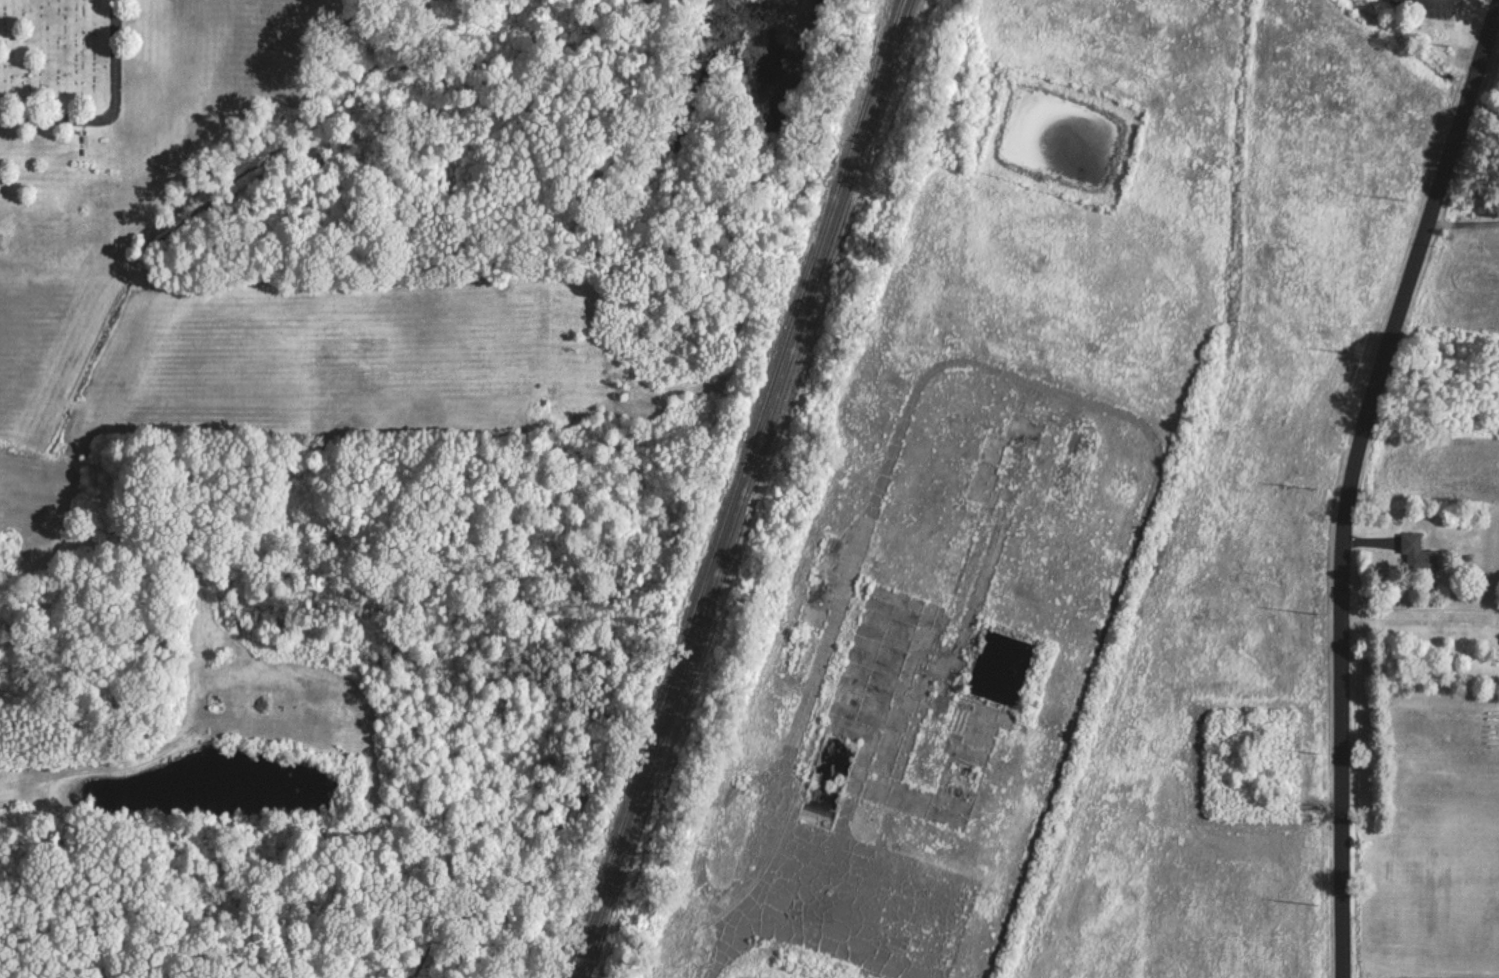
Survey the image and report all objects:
road: (108, 117)
park: (316, 140)
road: (1353, 482)
railway: (733, 489)
railway: (744, 489)
building: (1417, 554)
road: (1421, 632)

